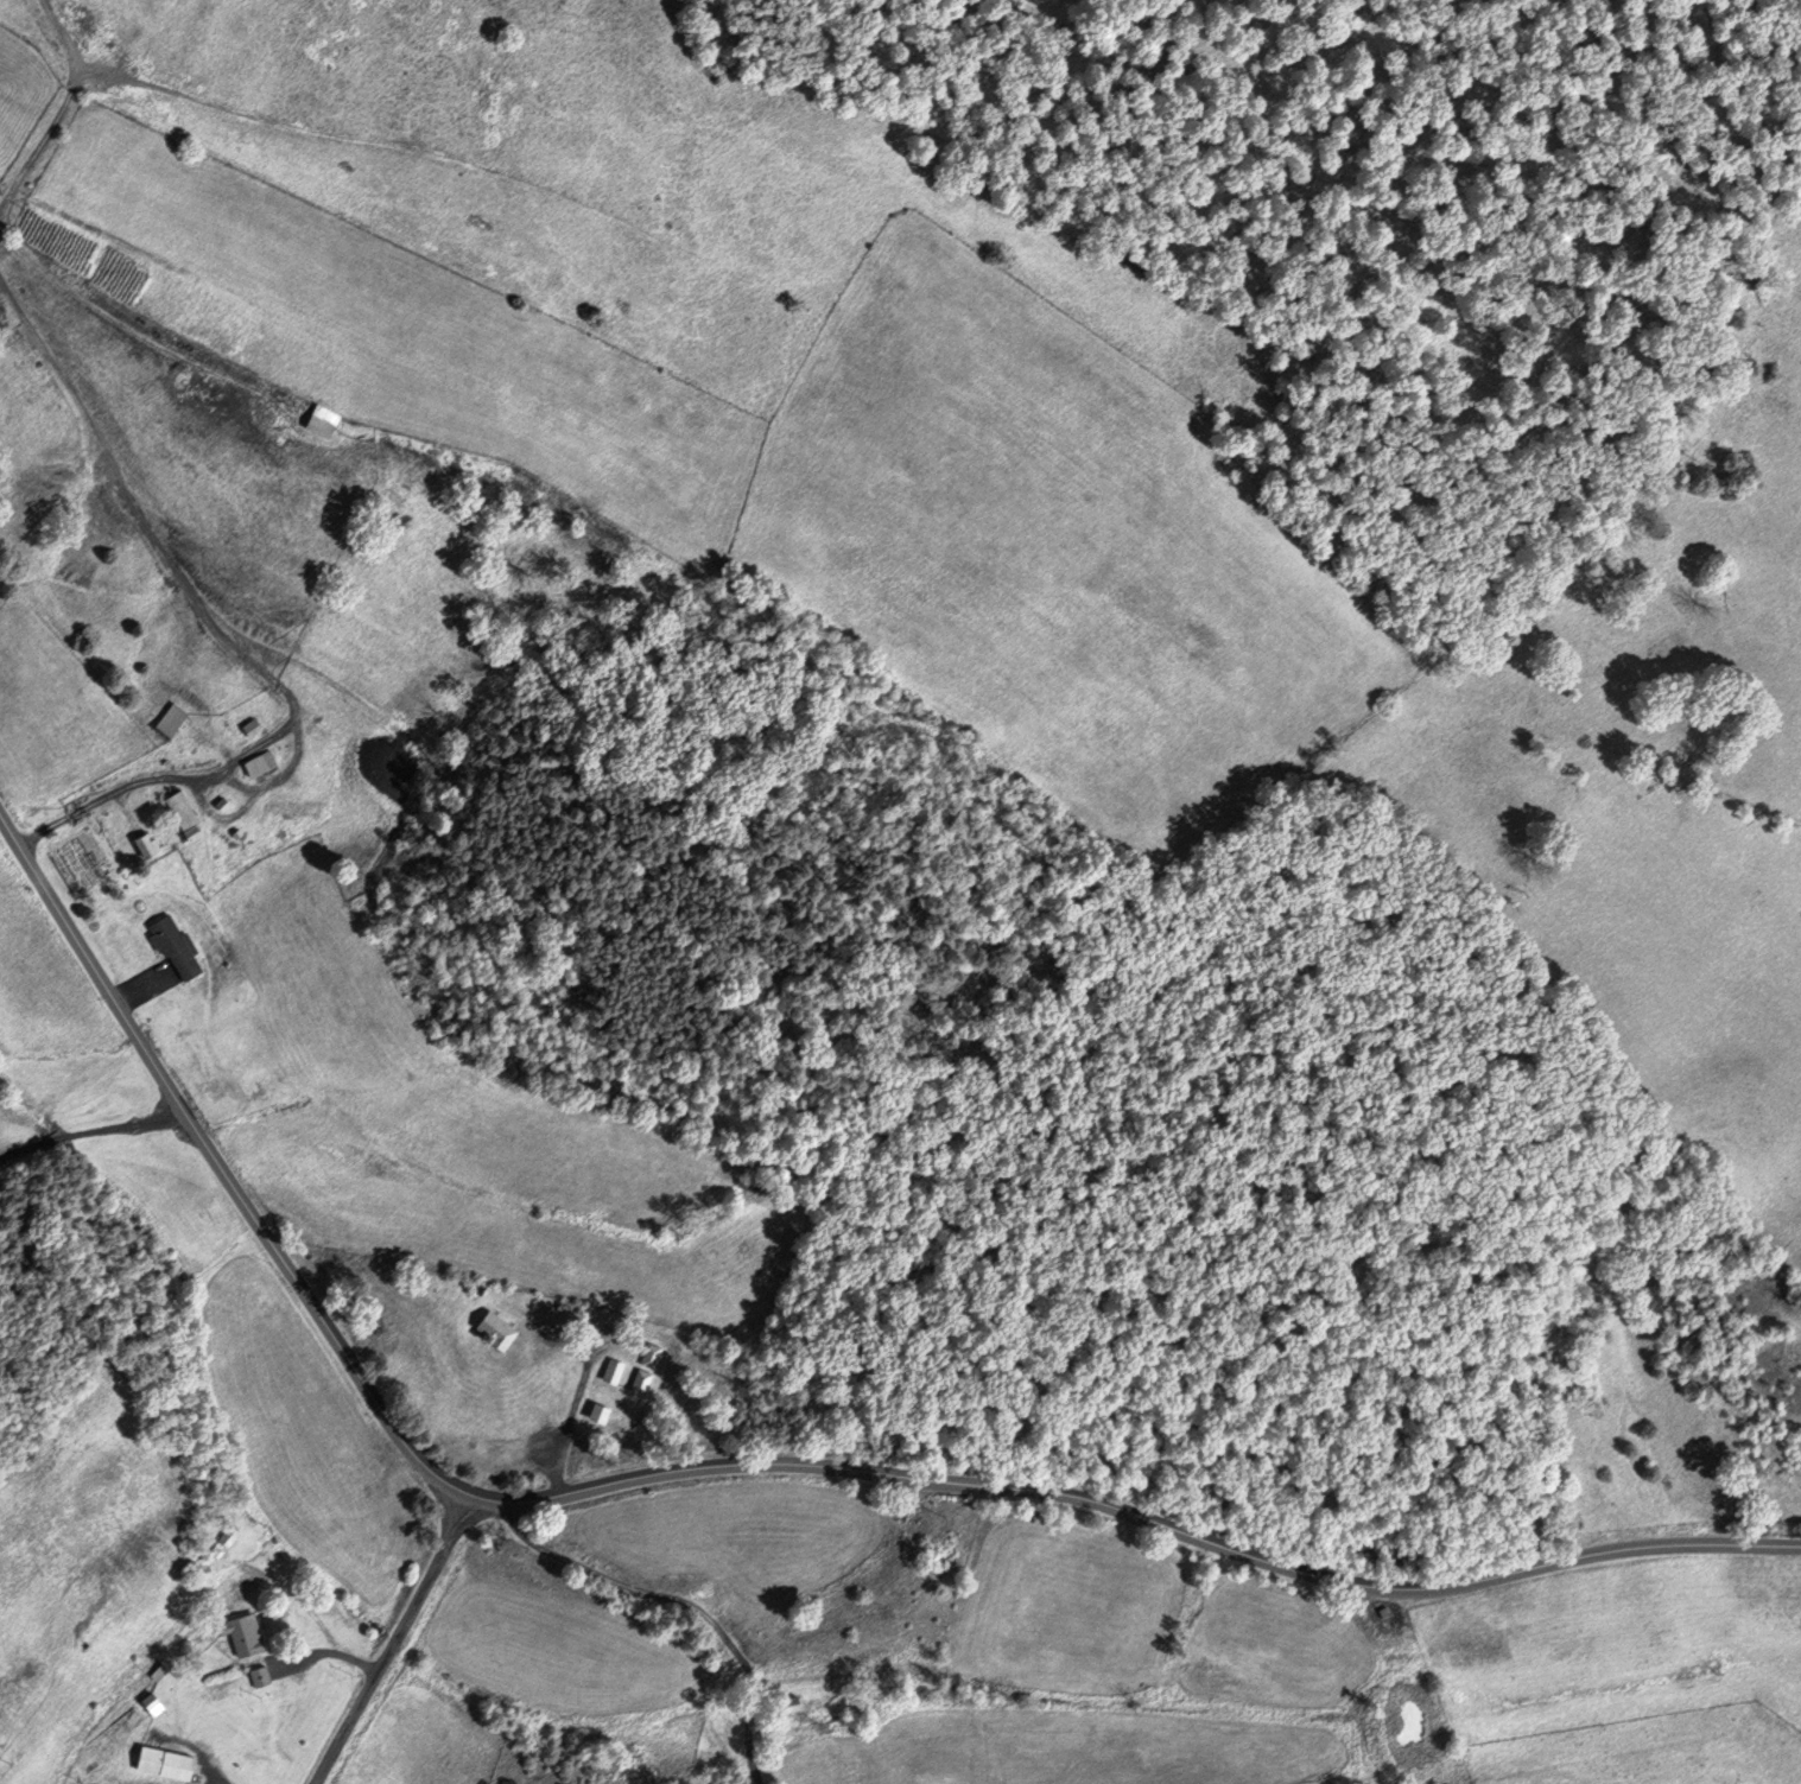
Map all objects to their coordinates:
road: (58, 104)
building: (325, 423)
road: (161, 552)
building: (171, 720)
building: (251, 728)
building: (261, 764)
road: (175, 777)
building: (222, 804)
building: (293, 808)
building: (183, 815)
building: (145, 845)
building: (175, 947)
road: (138, 990)
road: (91, 1131)
building: (496, 1329)
building: (648, 1357)
building: (610, 1371)
building: (639, 1383)
road: (570, 1402)
building: (597, 1412)
road: (727, 1465)
building: (228, 1538)
road: (685, 1599)
building: (242, 1633)
road: (391, 1639)
road: (330, 1652)
building: (258, 1677)
building: (791, 1702)
building: (152, 1704)
building: (165, 1763)

